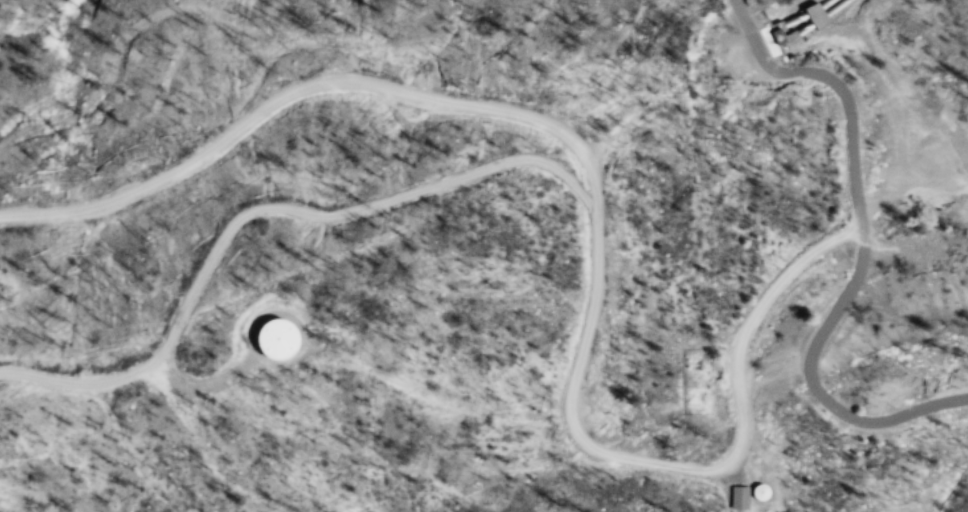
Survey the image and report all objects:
road: (844, 81)
road: (313, 89)
building: (284, 340)
road: (806, 383)
road: (687, 461)
building: (740, 497)

